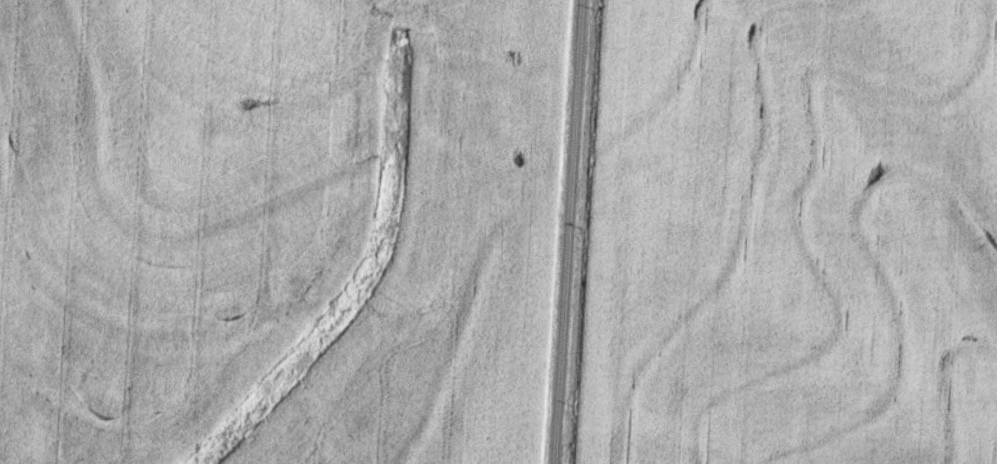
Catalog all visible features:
road: (571, 232)

